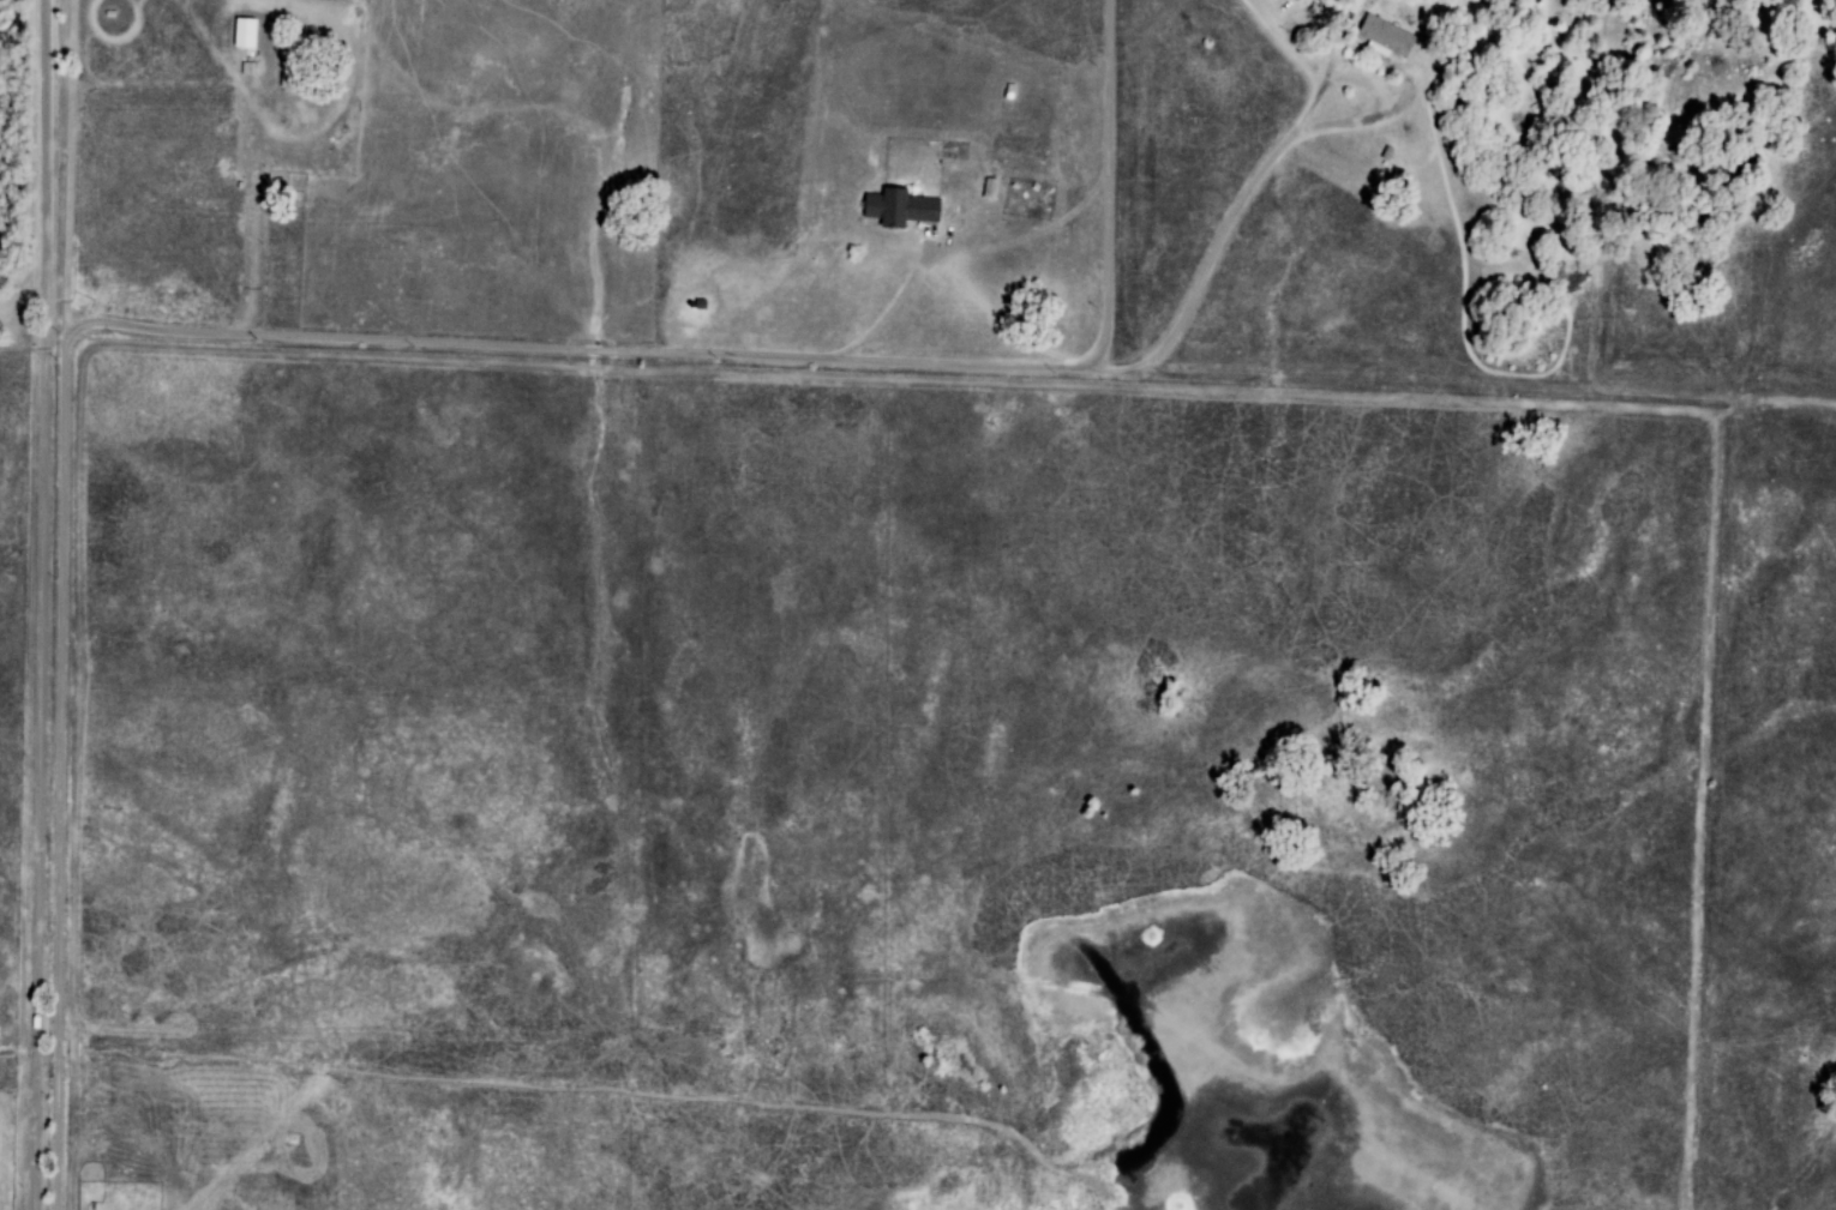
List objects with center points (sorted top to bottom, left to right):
building: (245, 34)
building: (1379, 35)
road: (1109, 188)
building: (900, 209)
road: (816, 365)
road: (48, 604)
road: (68, 604)
road: (1081, 867)

